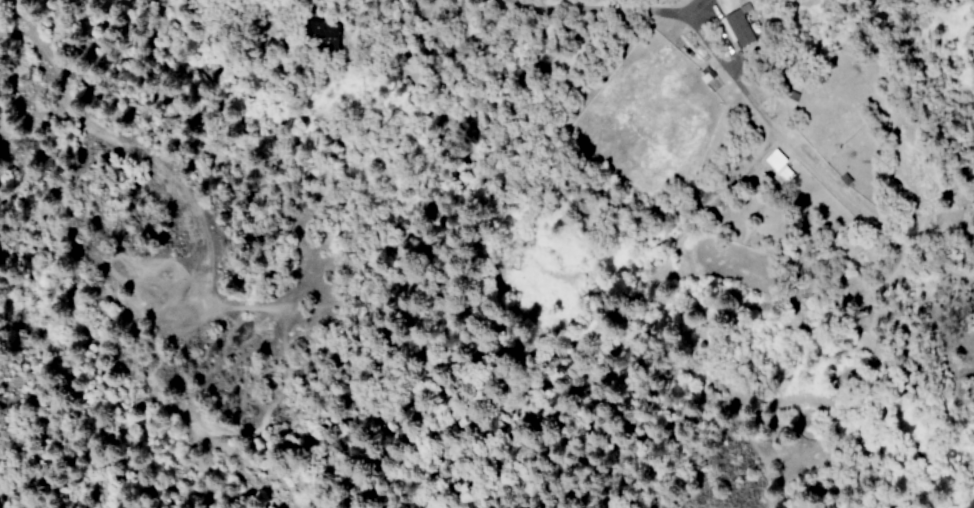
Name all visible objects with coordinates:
building: (736, 26)
building: (324, 34)
building: (705, 75)
road: (756, 107)
building: (773, 160)
building: (784, 175)

